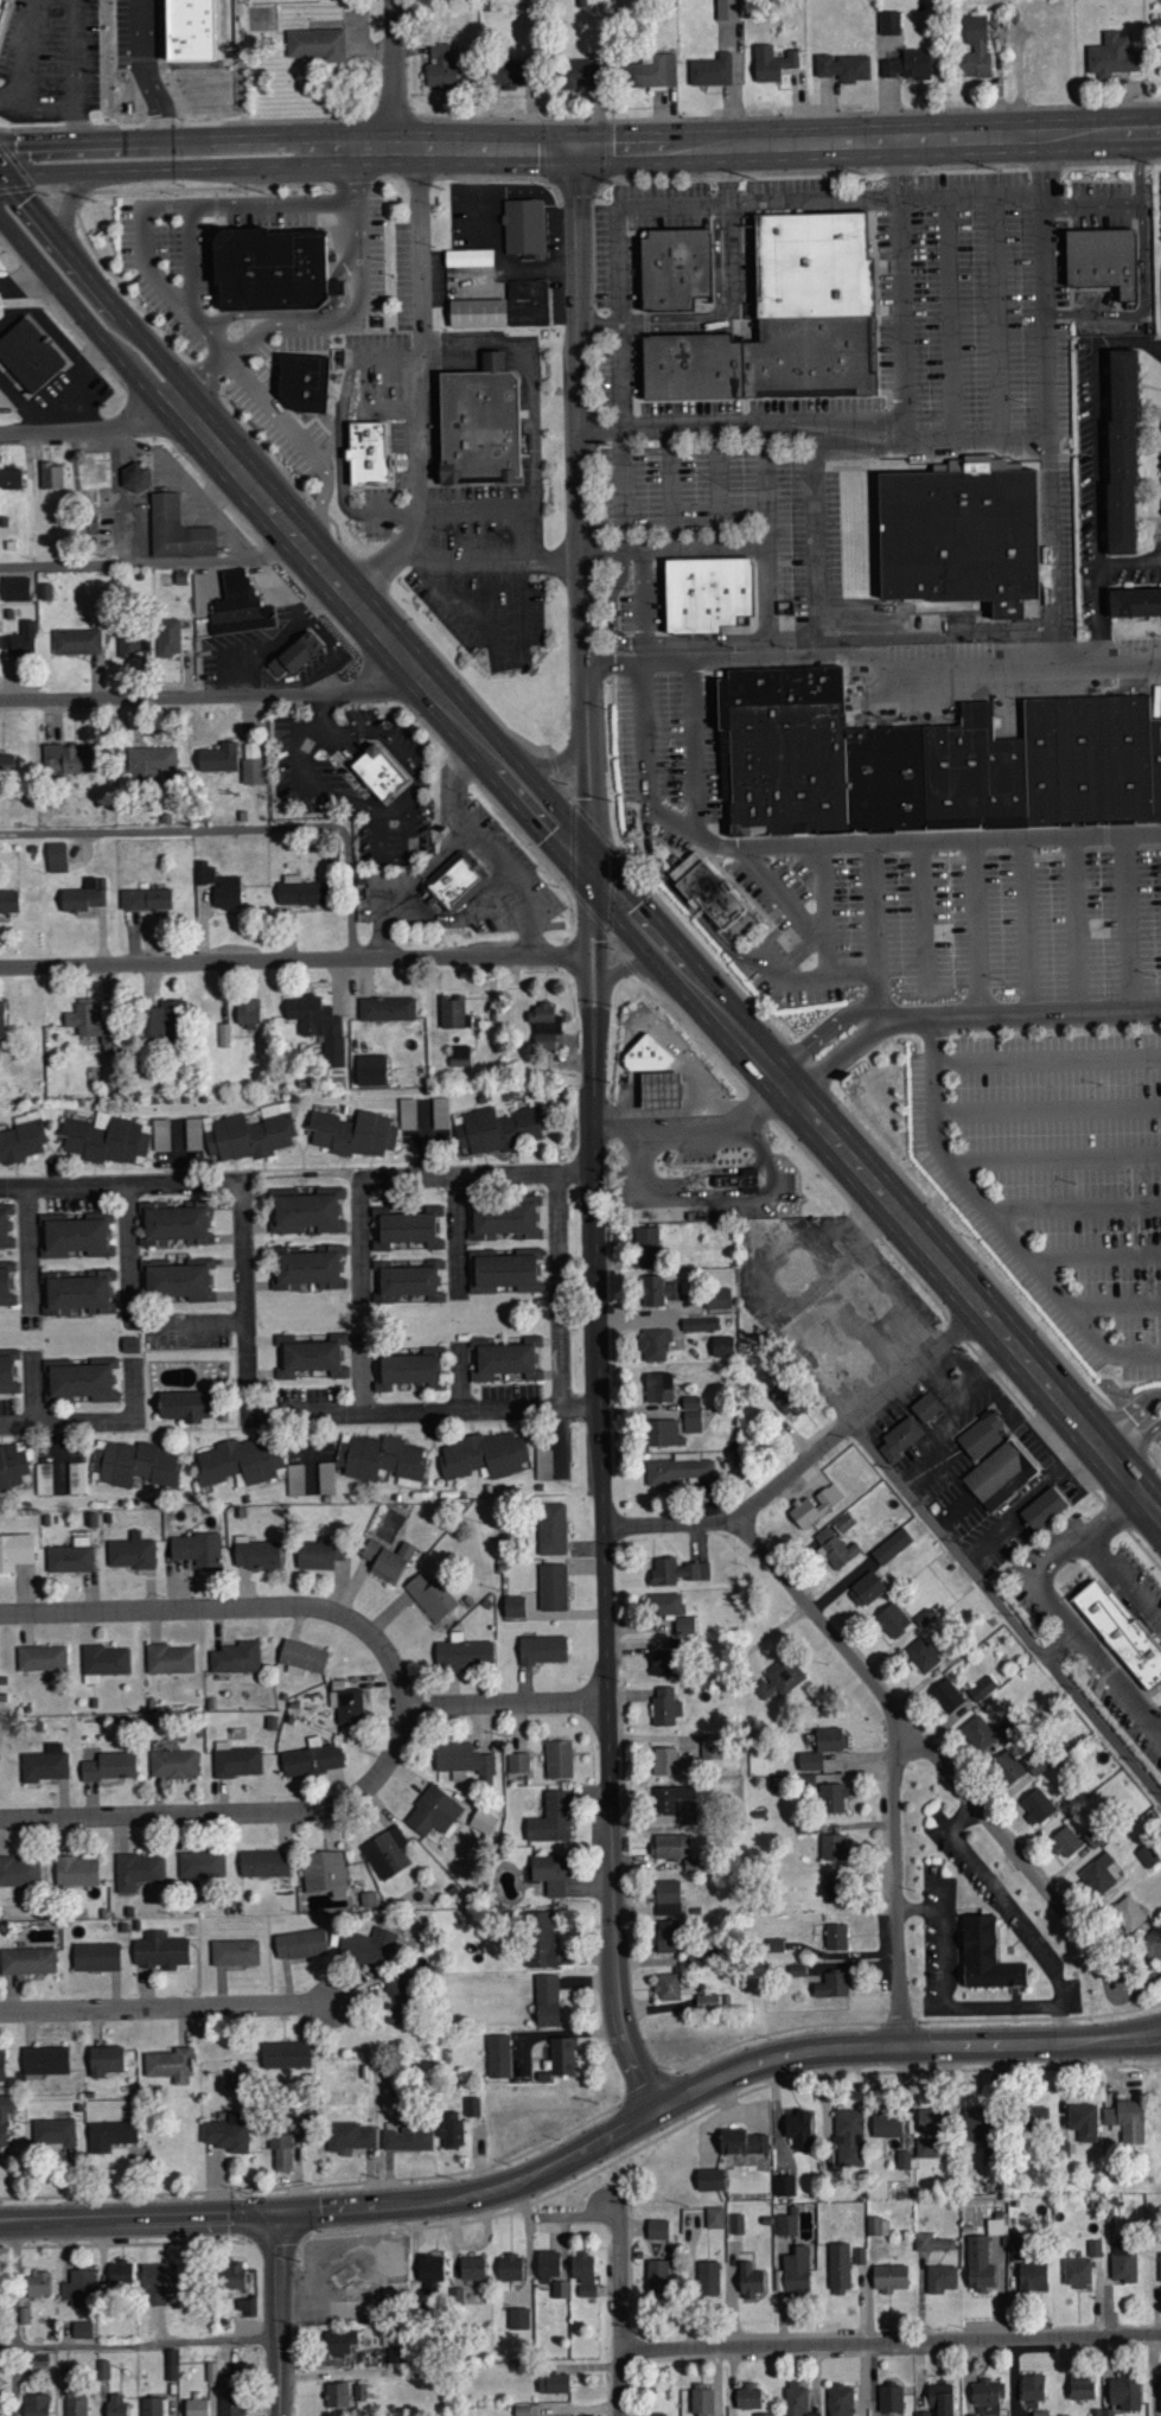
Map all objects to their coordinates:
building: (2, 8)
building: (727, 9)
building: (889, 23)
building: (187, 32)
building: (1157, 34)
building: (317, 45)
building: (975, 49)
road: (28, 52)
road: (75, 55)
building: (1111, 56)
building: (771, 63)
building: (908, 65)
building: (440, 68)
building: (843, 68)
building: (710, 71)
road: (141, 72)
building: (652, 72)
building: (508, 74)
building: (578, 74)
road: (396, 75)
road: (53, 110)
road: (870, 140)
road: (119, 144)
road: (408, 149)
traffic signals: (580, 149)
road: (1138, 167)
road: (120, 171)
road: (71, 202)
road: (1093, 204)
building: (527, 229)
road: (623, 242)
road: (146, 246)
building: (468, 256)
building: (1101, 257)
building: (270, 266)
building: (672, 267)
road: (95, 281)
road: (1142, 305)
building: (504, 306)
road: (731, 308)
parking lot: (989, 317)
road: (997, 317)
road: (79, 318)
building: (782, 318)
road: (950, 318)
road: (197, 321)
road: (339, 323)
building: (28, 355)
road: (905, 363)
building: (304, 378)
road: (423, 385)
road: (1050, 394)
road: (1097, 420)
building: (479, 425)
road: (604, 425)
parking lot: (714, 425)
road: (90, 428)
road: (534, 436)
road: (833, 440)
building: (1122, 444)
building: (370, 452)
building: (51, 477)
building: (135, 478)
building: (11, 479)
road: (764, 483)
road: (671, 484)
road: (719, 484)
road: (581, 509)
road: (473, 510)
building: (177, 531)
building: (962, 531)
road: (691, 544)
road: (817, 546)
road: (471, 560)
road: (151, 562)
road: (1099, 576)
building: (14, 589)
road: (643, 592)
building: (706, 592)
building: (1134, 600)
road: (613, 604)
building: (238, 607)
road: (481, 621)
road: (382, 633)
building: (20, 640)
building: (76, 642)
building: (132, 644)
road: (643, 649)
road: (873, 655)
building: (294, 656)
road: (209, 696)
road: (645, 731)
road: (696, 744)
parking lot: (669, 757)
building: (68, 759)
building: (218, 759)
building: (929, 761)
building: (148, 764)
building: (251, 764)
road: (554, 764)
building: (6, 766)
building: (377, 770)
road: (371, 808)
road: (237, 828)
road: (899, 841)
road: (486, 848)
building: (56, 858)
road: (400, 858)
traffic signals: (594, 869)
building: (458, 879)
building: (219, 887)
building: (707, 890)
building: (299, 891)
road: (681, 895)
road: (783, 895)
building: (82, 897)
building: (146, 899)
building: (9, 901)
road: (419, 907)
road: (825, 911)
road: (925, 918)
parking lot: (956, 920)
road: (1129, 920)
road: (1078, 923)
road: (384, 924)
road: (1027, 925)
road: (980, 926)
road: (874, 930)
road: (586, 950)
road: (601, 951)
road: (293, 962)
road: (637, 965)
road: (684, 971)
road: (815, 977)
building: (387, 1008)
road: (1048, 1011)
building: (453, 1012)
building: (248, 1013)
building: (159, 1018)
road: (906, 1018)
building: (2, 1019)
building: (89, 1022)
building: (544, 1025)
building: (318, 1026)
road: (823, 1035)
building: (459, 1056)
road: (1048, 1058)
road: (838, 1060)
building: (370, 1070)
building: (656, 1075)
gas station: (656, 1075)
road: (780, 1080)
road: (1048, 1108)
building: (440, 1113)
building: (407, 1114)
building: (498, 1129)
building: (160, 1134)
building: (241, 1134)
building: (353, 1134)
road: (693, 1134)
building: (23, 1137)
building: (106, 1139)
road: (1055, 1158)
parking lot: (1053, 1168)
road: (702, 1172)
road: (478, 1175)
building: (740, 1179)
road: (721, 1199)
road: (883, 1199)
road: (1077, 1205)
building: (305, 1213)
road: (1000, 1216)
building: (500, 1219)
building: (174, 1224)
building: (403, 1229)
building: (5, 1232)
road: (458, 1237)
building: (76, 1238)
road: (362, 1241)
building: (645, 1247)
road: (30, 1250)
road: (1096, 1251)
building: (307, 1268)
building: (502, 1271)
building: (177, 1280)
building: (407, 1281)
building: (5, 1289)
building: (662, 1290)
building: (76, 1292)
road: (560, 1292)
building: (717, 1299)
road: (1117, 1302)
road: (130, 1312)
building: (700, 1324)
building: (655, 1345)
building: (722, 1346)
road: (248, 1353)
building: (312, 1354)
building: (503, 1360)
building: (404, 1371)
road: (363, 1375)
building: (7, 1376)
road: (461, 1377)
road: (1039, 1377)
building: (81, 1382)
road: (34, 1388)
building: (658, 1388)
building: (787, 1400)
building: (691, 1402)
building: (184, 1405)
building: (925, 1407)
road: (1125, 1415)
road: (861, 1416)
building: (693, 1421)
road: (100, 1422)
building: (664, 1433)
building: (981, 1436)
building: (899, 1439)
road: (1136, 1443)
road: (1104, 1452)
building: (484, 1455)
building: (381, 1459)
building: (238, 1462)
building: (130, 1464)
building: (543, 1465)
building: (13, 1467)
building: (677, 1470)
building: (999, 1475)
building: (77, 1478)
building: (326, 1478)
building: (44, 1479)
building: (295, 1479)
road: (1137, 1490)
building: (815, 1506)
building: (1042, 1509)
building: (843, 1523)
road: (670, 1525)
building: (550, 1529)
building: (891, 1547)
building: (197, 1549)
building: (835, 1549)
building: (15, 1551)
building: (132, 1553)
building: (255, 1554)
building: (319, 1554)
building: (71, 1556)
building: (387, 1558)
road: (1053, 1562)
building: (676, 1572)
road: (1127, 1575)
road: (605, 1576)
building: (553, 1587)
building: (867, 1589)
building: (429, 1596)
building: (664, 1604)
building: (513, 1607)
road: (1004, 1609)
road: (330, 1613)
building: (893, 1620)
road: (818, 1621)
building: (684, 1625)
building: (1121, 1631)
building: (542, 1650)
building: (463, 1655)
building: (921, 1656)
building: (301, 1657)
building: (42, 1658)
building: (236, 1658)
building: (170, 1659)
building: (104, 1663)
building: (663, 1663)
building: (784, 1676)
road: (1112, 1677)
building: (946, 1695)
building: (345, 1702)
building: (665, 1707)
building: (977, 1733)
building: (710, 1747)
building: (822, 1748)
building: (312, 1759)
building: (559, 1759)
building: (236, 1760)
building: (464, 1762)
building: (518, 1762)
building: (671, 1762)
building: (173, 1764)
building: (1004, 1765)
building: (43, 1766)
building: (109, 1766)
building: (833, 1798)
building: (678, 1803)
building: (1036, 1806)
building: (433, 1812)
road: (232, 1815)
building: (551, 1818)
building: (483, 1822)
building: (1065, 1843)
building: (670, 1847)
building: (833, 1848)
building: (388, 1853)
road: (1015, 1854)
building: (1148, 1856)
building: (263, 1863)
building: (202, 1866)
road: (1006, 1870)
building: (18, 1872)
building: (76, 1872)
building: (138, 1872)
building: (324, 1873)
building: (551, 1874)
building: (1101, 1874)
road: (991, 1883)
road: (891, 1885)
building: (835, 1892)
building: (668, 1898)
road: (916, 1911)
building: (1128, 1913)
road: (940, 1934)
building: (668, 1937)
building: (836, 1937)
building: (540, 1939)
building: (300, 1944)
building: (368, 1946)
building: (1153, 1946)
building: (160, 1951)
building: (234, 1952)
building: (96, 1957)
building: (985, 1957)
building: (27, 1961)
building: (833, 1985)
building: (666, 1987)
building: (398, 1999)
building: (547, 2001)
building: (707, 2002)
road: (1060, 2003)
road: (976, 2004)
road: (165, 2006)
road: (900, 2046)
building: (285, 2055)
building: (498, 2057)
building: (562, 2057)
building: (45, 2060)
building: (104, 2060)
building: (170, 2065)
building: (1, 2066)
building: (4, 2121)
building: (1033, 2121)
building: (1127, 2121)
building: (1083, 2122)
building: (887, 2124)
building: (977, 2124)
building: (452, 2130)
building: (798, 2130)
building: (53, 2133)
building: (228, 2133)
building: (931, 2133)
building: (110, 2135)
building: (349, 2137)
building: (408, 2138)
building: (849, 2138)
building: (741, 2143)
building: (281, 2152)
building: (902, 2160)
building: (709, 2180)
building: (784, 2186)
road: (478, 2198)
traffic signals: (283, 2217)
building: (715, 2217)
road: (141, 2220)
building: (738, 2224)
building: (785, 2225)
building: (997, 2225)
building: (878, 2226)
building: (657, 2230)
building: (932, 2243)
building: (1018, 2246)
building: (1095, 2249)
building: (1123, 2262)
building: (978, 2264)
building: (548, 2267)
building: (510, 2268)
building: (838, 2268)
building: (472, 2269)
building: (1160, 2270)
building: (429, 2272)
building: (793, 2272)
building: (1077, 2272)
building: (121, 2274)
building: (585, 2274)
building: (230, 2276)
building: (657, 2277)
building: (749, 2277)
building: (1033, 2277)
building: (708, 2278)
building: (889, 2278)
building: (940, 2280)
building: (157, 2283)
building: (37, 2284)
building: (79, 2289)
building: (560, 2289)
building: (247, 2307)
road: (281, 2315)
road: (621, 2316)
building: (518, 2319)
road: (17, 2320)
building: (83, 2329)
building: (338, 2342)
road: (148, 2344)
road: (892, 2344)
building: (396, 2348)
building: (554, 2384)
building: (1032, 2388)
building: (1160, 2389)
building: (1082, 2391)
building: (1125, 2391)
building: (988, 2392)
building: (336, 2396)
building: (747, 2398)
building: (702, 2401)
building: (797, 2401)
building: (840, 2401)
building: (891, 2401)
building: (939, 2401)
building: (231, 2404)
building: (36, 2405)
building: (115, 2405)
building: (152, 2407)
building: (76, 2408)
building: (196, 2408)
building: (989, 2410)
building: (1103, 2412)
building: (652, 2415)
building: (764, 2415)

